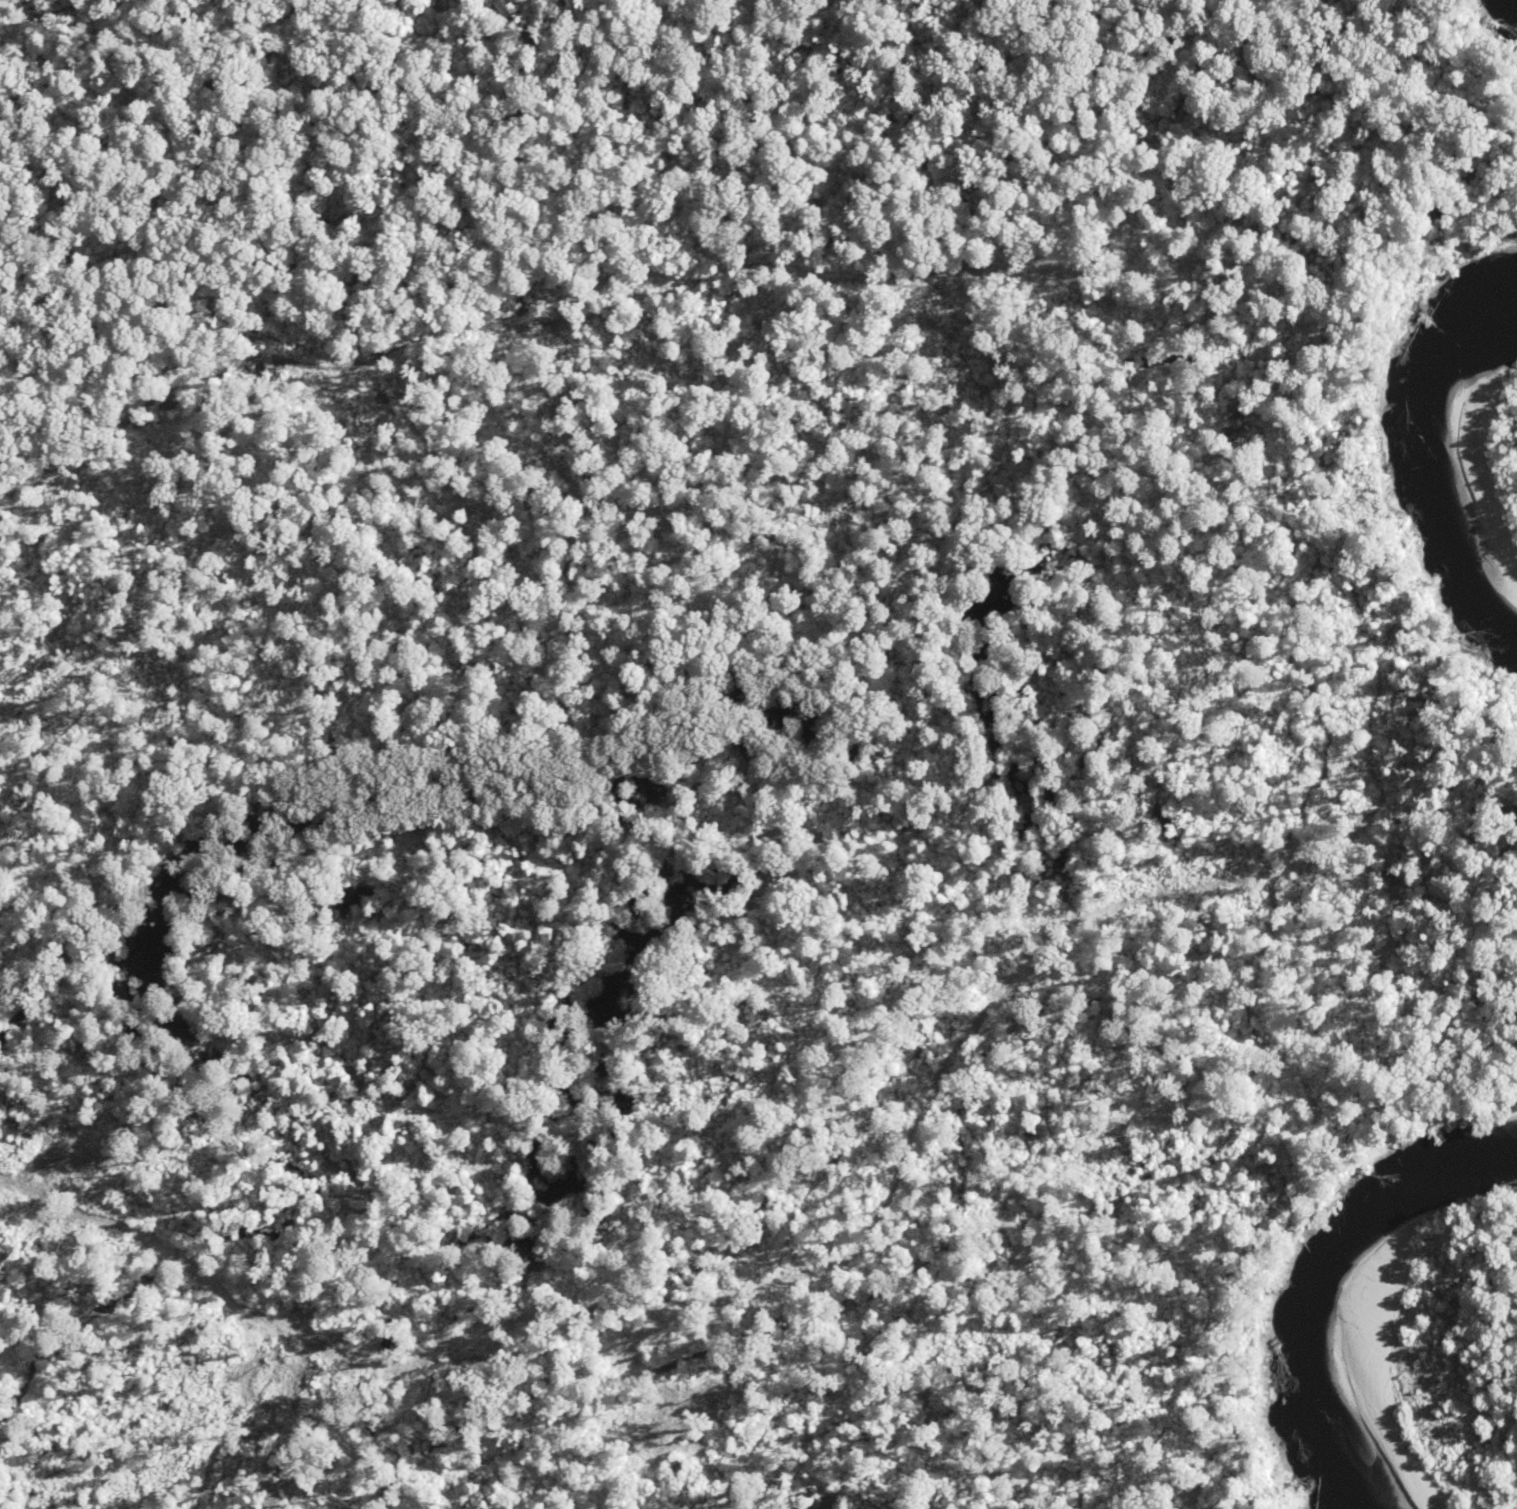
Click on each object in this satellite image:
river: (1490, 424)
river: (1382, 1293)

